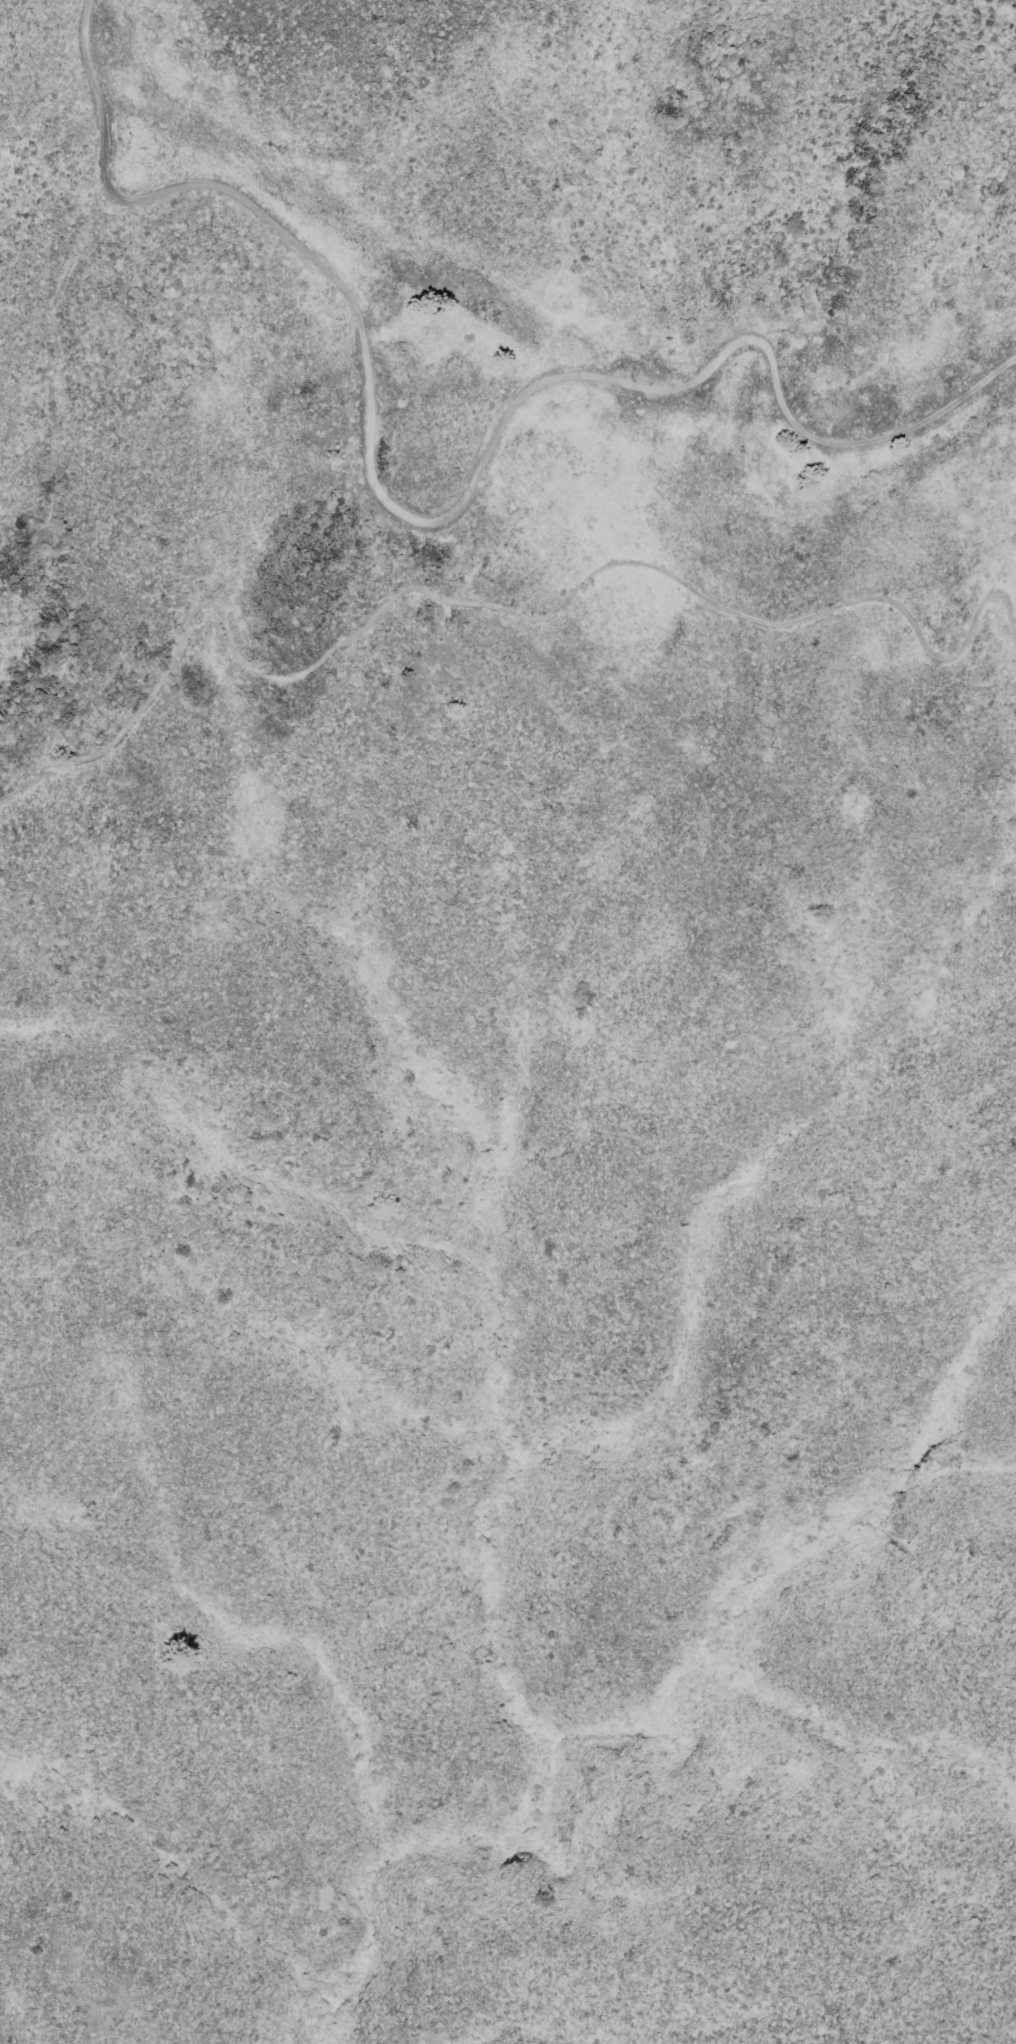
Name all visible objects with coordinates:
road: (439, 520)
road: (481, 603)
park: (507, 1299)

